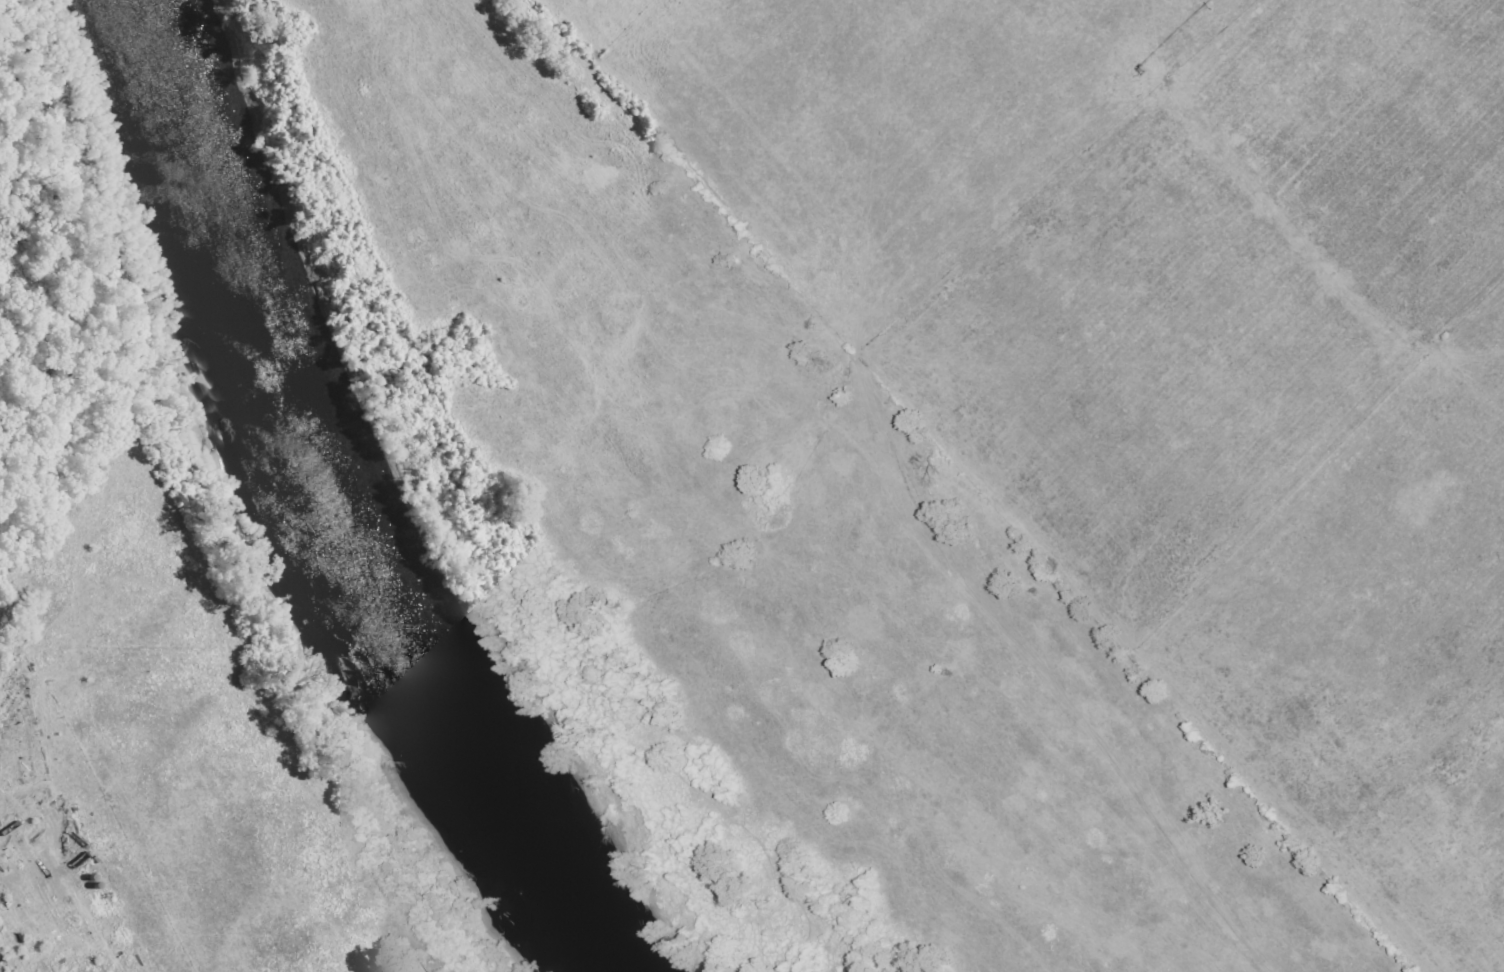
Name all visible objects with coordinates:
river: (368, 505)

